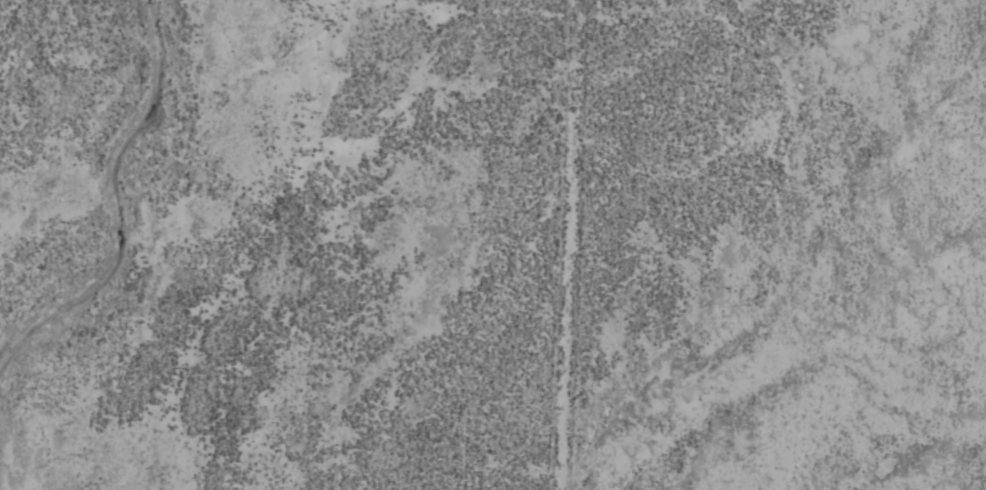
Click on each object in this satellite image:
railway: (976, 20)
railway: (970, 32)

